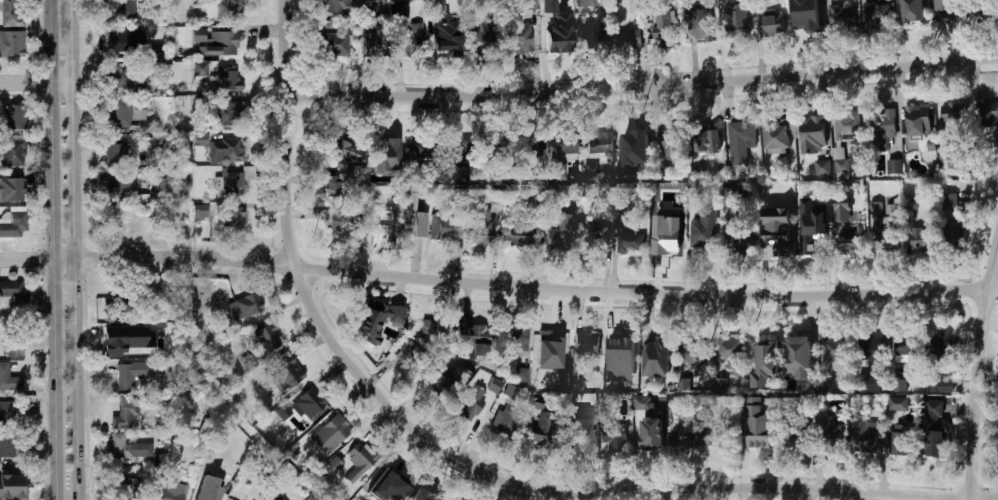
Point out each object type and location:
building: (585, 3)
building: (529, 4)
building: (635, 5)
building: (337, 6)
building: (984, 7)
building: (121, 9)
building: (228, 9)
building: (949, 9)
building: (913, 11)
building: (11, 13)
building: (875, 16)
building: (843, 17)
building: (737, 20)
building: (808, 22)
building: (598, 23)
building: (700, 25)
building: (771, 25)
building: (666, 27)
building: (556, 28)
building: (198, 34)
building: (517, 35)
building: (413, 37)
building: (628, 40)
building: (227, 41)
building: (376, 41)
building: (446, 41)
building: (11, 43)
building: (129, 44)
building: (335, 44)
road: (535, 56)
road: (542, 56)
building: (126, 77)
building: (227, 79)
road: (39, 81)
road: (642, 88)
building: (953, 112)
building: (120, 115)
building: (224, 115)
building: (987, 115)
building: (15, 118)
building: (917, 121)
building: (145, 126)
building: (846, 128)
building: (811, 130)
building: (882, 130)
road: (286, 132)
building: (778, 135)
building: (706, 141)
building: (202, 142)
building: (635, 142)
building: (599, 143)
building: (670, 144)
building: (740, 144)
building: (489, 146)
building: (533, 146)
building: (343, 150)
building: (566, 150)
building: (114, 151)
building: (421, 151)
building: (13, 152)
building: (221, 152)
building: (458, 154)
building: (385, 156)
building: (843, 163)
building: (894, 166)
building: (823, 167)
building: (558, 172)
building: (346, 179)
building: (329, 185)
building: (229, 186)
building: (119, 187)
building: (12, 189)
building: (733, 197)
building: (951, 200)
building: (533, 202)
building: (912, 203)
building: (550, 207)
building: (876, 207)
building: (406, 210)
building: (842, 212)
building: (199, 213)
building: (224, 218)
building: (337, 219)
building: (126, 223)
building: (381, 223)
building: (14, 224)
building: (418, 224)
building: (484, 225)
building: (887, 226)
building: (703, 227)
building: (443, 228)
building: (955, 234)
building: (518, 236)
building: (596, 236)
building: (558, 238)
building: (922, 238)
building: (811, 240)
building: (630, 243)
building: (736, 243)
building: (777, 243)
building: (850, 244)
building: (666, 247)
road: (49, 249)
road: (79, 249)
road: (498, 284)
building: (13, 291)
building: (245, 306)
building: (377, 324)
building: (432, 331)
building: (474, 334)
building: (268, 338)
building: (134, 340)
building: (514, 341)
building: (586, 344)
building: (904, 346)
building: (15, 347)
building: (870, 348)
building: (550, 349)
building: (690, 350)
building: (725, 351)
building: (942, 351)
building: (835, 352)
building: (409, 355)
building: (656, 358)
building: (621, 359)
building: (801, 361)
building: (765, 365)
road: (980, 368)
building: (288, 370)
building: (132, 374)
building: (521, 375)
building: (3, 376)
building: (620, 384)
building: (869, 384)
building: (494, 385)
building: (720, 385)
building: (900, 385)
building: (942, 385)
building: (438, 390)
building: (309, 403)
building: (471, 403)
building: (643, 403)
building: (898, 403)
building: (284, 411)
building: (6, 414)
building: (122, 417)
building: (503, 422)
building: (759, 425)
building: (935, 428)
building: (652, 432)
building: (826, 432)
building: (330, 434)
building: (538, 434)
building: (865, 434)
building: (614, 436)
building: (694, 436)
building: (997, 436)
building: (790, 437)
building: (575, 440)
building: (898, 442)
building: (8, 446)
building: (127, 447)
building: (364, 455)
building: (336, 464)
building: (215, 470)
building: (393, 481)
building: (125, 487)
building: (9, 488)
building: (173, 491)
road: (595, 493)
building: (365, 494)
flagpole: (472, 497)
building: (420, 498)
building: (269, 499)

